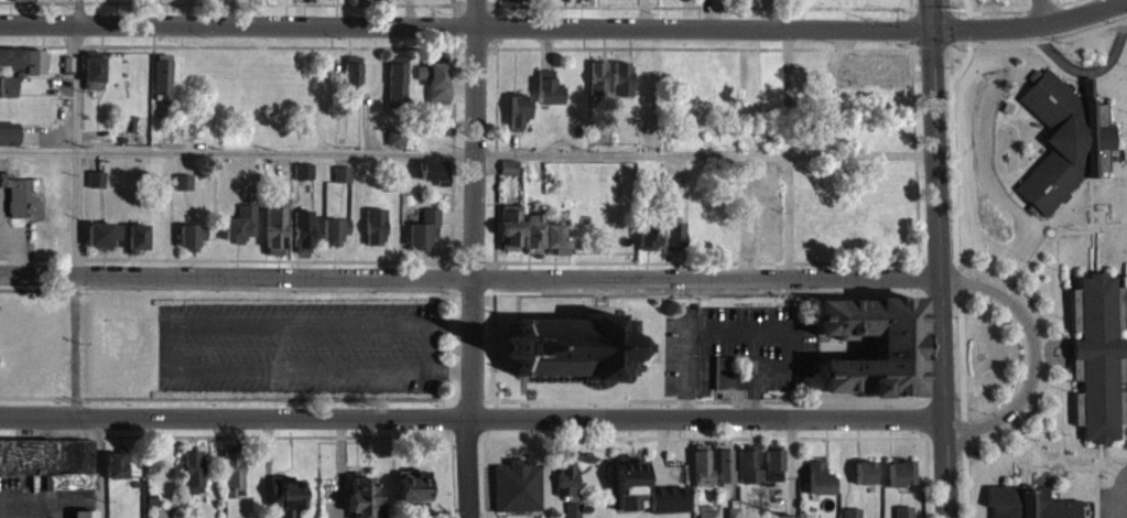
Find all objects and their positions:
building: (21, 1)
building: (532, 1)
building: (735, 1)
building: (167, 2)
building: (280, 2)
building: (316, 2)
building: (365, 2)
building: (510, 2)
building: (573, 2)
road: (79, 13)
road: (1048, 13)
road: (772, 14)
road: (565, 28)
traffic signals: (938, 30)
road: (1039, 41)
road: (931, 51)
road: (947, 52)
building: (23, 68)
road: (1086, 71)
road: (1120, 73)
building: (885, 74)
road: (1082, 78)
building: (91, 80)
building: (162, 85)
building: (597, 86)
building: (351, 87)
building: (620, 87)
building: (395, 88)
building: (434, 89)
building: (7, 95)
building: (546, 96)
building: (517, 119)
building: (8, 142)
road: (940, 143)
building: (394, 145)
road: (79, 149)
building: (1063, 149)
road: (238, 151)
building: (507, 175)
building: (766, 175)
building: (303, 180)
building: (432, 180)
building: (340, 183)
building: (95, 187)
building: (182, 191)
building: (19, 205)
road: (1093, 209)
road: (1110, 223)
building: (239, 233)
building: (373, 234)
building: (509, 236)
building: (273, 237)
building: (422, 238)
building: (767, 238)
building: (301, 239)
building: (334, 239)
building: (101, 242)
road: (1043, 242)
building: (646, 244)
building: (136, 245)
building: (189, 245)
building: (542, 245)
building: (670, 245)
road: (472, 258)
road: (472, 277)
road: (960, 284)
road: (457, 290)
road: (474, 291)
road: (490, 291)
road: (1058, 341)
road: (73, 343)
road: (452, 343)
road: (164, 344)
parking lot: (739, 345)
parking lot: (294, 346)
building: (579, 346)
building: (896, 346)
road: (1045, 352)
road: (1033, 356)
building: (1097, 356)
road: (944, 359)
building: (726, 384)
road: (451, 398)
road: (473, 399)
road: (489, 399)
road: (923, 400)
road: (492, 402)
road: (447, 417)
road: (472, 417)
road: (489, 418)
road: (1022, 430)
road: (451, 434)
road: (484, 435)
road: (467, 440)
road: (1029, 452)
road: (1042, 452)
road: (1061, 458)
road: (98, 467)
road: (792, 467)
road: (1054, 467)
flagpole: (1058, 470)
building: (50, 471)
building: (723, 473)
building: (113, 474)
building: (701, 474)
building: (746, 474)
building: (771, 474)
road: (1098, 474)
road: (946, 475)
road: (928, 477)
building: (192, 479)
building: (231, 479)
building: (863, 481)
building: (898, 482)
road: (1125, 483)
building: (817, 487)
building: (564, 488)
road: (1073, 488)
building: (628, 490)
building: (410, 494)
building: (519, 494)
road: (1071, 494)
building: (288, 500)
building: (361, 501)
building: (1028, 501)
parking lot: (1114, 501)
road: (1125, 504)
building: (667, 507)
building: (572, 514)
building: (705, 516)
building: (902, 516)
building: (732, 517)
building: (850, 517)

